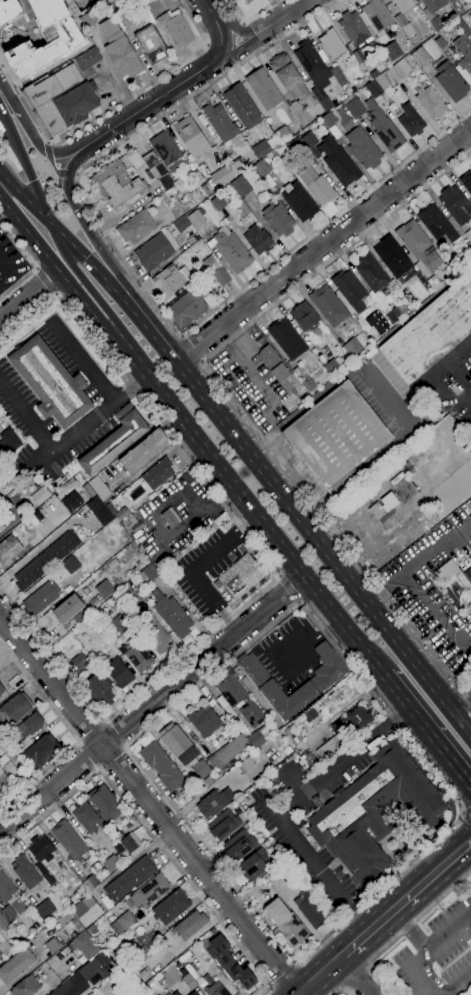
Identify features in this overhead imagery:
building: (246, 2)
building: (116, 4)
building: (403, 5)
building: (433, 5)
building: (458, 6)
building: (8, 11)
road: (212, 11)
building: (376, 15)
road: (283, 16)
road: (249, 17)
building: (87, 20)
building: (436, 24)
building: (403, 25)
building: (176, 27)
building: (462, 27)
building: (451, 28)
building: (354, 29)
building: (470, 29)
road: (237, 32)
building: (46, 40)
road: (223, 41)
building: (438, 42)
building: (150, 44)
building: (332, 44)
road: (238, 46)
building: (119, 50)
building: (392, 51)
building: (463, 54)
building: (358, 56)
building: (420, 57)
building: (87, 59)
building: (398, 70)
building: (314, 72)
building: (373, 74)
building: (337, 75)
building: (288, 76)
building: (450, 82)
building: (377, 86)
building: (264, 89)
road: (165, 94)
building: (51, 96)
building: (76, 103)
building: (431, 103)
building: (242, 106)
building: (353, 106)
road: (111, 108)
building: (302, 108)
building: (328, 119)
building: (410, 121)
road: (22, 123)
building: (220, 124)
building: (383, 127)
building: (282, 134)
building: (190, 136)
building: (308, 140)
road: (50, 144)
road: (82, 144)
building: (297, 146)
building: (264, 147)
building: (362, 149)
building: (166, 150)
road: (50, 153)
building: (314, 153)
park: (10, 159)
building: (338, 162)
building: (237, 166)
road: (52, 167)
building: (157, 171)
building: (263, 173)
road: (65, 174)
road: (75, 176)
building: (222, 176)
building: (466, 182)
building: (118, 185)
building: (240, 186)
building: (316, 186)
building: (206, 189)
building: (298, 201)
building: (217, 204)
building: (455, 205)
road: (74, 207)
building: (196, 218)
building: (277, 220)
road: (51, 223)
building: (436, 224)
building: (181, 225)
building: (136, 227)
traffic signals: (54, 228)
building: (467, 236)
road: (64, 238)
building: (257, 240)
road: (322, 245)
building: (418, 245)
building: (230, 250)
building: (153, 252)
building: (467, 257)
building: (394, 259)
road: (30, 263)
building: (210, 263)
building: (371, 272)
building: (220, 276)
building: (170, 279)
road: (136, 280)
road: (43, 282)
building: (350, 291)
road: (29, 297)
building: (330, 307)
building: (186, 308)
building: (407, 309)
building: (394, 313)
building: (306, 320)
road: (149, 329)
building: (430, 331)
building: (286, 339)
building: (352, 347)
road: (191, 349)
building: (268, 356)
road: (81, 360)
road: (249, 367)
building: (332, 367)
building: (279, 373)
road: (433, 373)
building: (303, 379)
building: (50, 383)
road: (463, 398)
road: (230, 399)
road: (188, 429)
building: (337, 439)
building: (114, 440)
road: (65, 441)
building: (8, 442)
building: (144, 451)
building: (157, 474)
building: (99, 488)
building: (40, 496)
building: (389, 501)
building: (70, 502)
building: (374, 509)
building: (99, 511)
building: (170, 517)
building: (1, 525)
building: (131, 526)
road: (323, 546)
building: (8, 549)
building: (469, 559)
building: (45, 560)
road: (266, 560)
building: (68, 564)
building: (112, 565)
road: (195, 567)
building: (148, 573)
building: (239, 577)
building: (102, 589)
road: (287, 589)
building: (456, 589)
building: (127, 596)
building: (40, 598)
building: (109, 602)
building: (67, 609)
building: (171, 614)
building: (119, 623)
building: (153, 634)
building: (138, 658)
building: (79, 662)
building: (118, 673)
building: (349, 680)
building: (318, 683)
building: (1, 690)
building: (98, 690)
building: (0, 696)
building: (239, 700)
road: (151, 702)
building: (319, 703)
road: (463, 706)
building: (14, 709)
building: (357, 720)
building: (203, 721)
building: (27, 726)
road: (427, 728)
road: (91, 731)
road: (70, 733)
road: (114, 733)
building: (291, 736)
building: (219, 739)
building: (254, 740)
building: (178, 743)
building: (328, 747)
building: (250, 749)
building: (39, 750)
building: (227, 752)
road: (88, 756)
road: (111, 758)
building: (3, 759)
building: (309, 760)
building: (245, 765)
building: (161, 766)
building: (11, 769)
building: (200, 769)
building: (4, 785)
building: (214, 802)
building: (105, 805)
road: (149, 805)
road: (286, 805)
road: (468, 808)
road: (463, 811)
building: (373, 812)
building: (85, 817)
road: (459, 817)
road: (461, 819)
road: (467, 823)
road: (2, 824)
building: (223, 825)
road: (148, 832)
building: (69, 840)
building: (128, 842)
building: (238, 845)
building: (40, 848)
building: (114, 859)
road: (448, 861)
building: (253, 865)
building: (94, 866)
building: (25, 873)
building: (47, 876)
building: (129, 879)
building: (90, 883)
building: (5, 888)
building: (150, 891)
building: (129, 904)
building: (170, 907)
building: (44, 909)
building: (309, 910)
building: (86, 911)
building: (8, 913)
road: (383, 919)
building: (3, 923)
building: (122, 923)
building: (190, 925)
building: (91, 929)
building: (291, 930)
road: (404, 930)
road: (409, 930)
road: (447, 931)
building: (14, 937)
building: (28, 937)
building: (3, 945)
building: (84, 945)
building: (53, 946)
building: (135, 951)
building: (229, 963)
building: (15, 965)
building: (101, 965)
road: (413, 971)
road: (282, 973)
road: (319, 975)
road: (353, 976)
road: (432, 978)
road: (359, 981)
building: (188, 982)
building: (200, 982)
building: (26, 986)
building: (71, 986)
road: (461, 987)
building: (216, 990)
building: (140, 992)
road: (340, 992)
building: (175, 993)
building: (193, 993)

